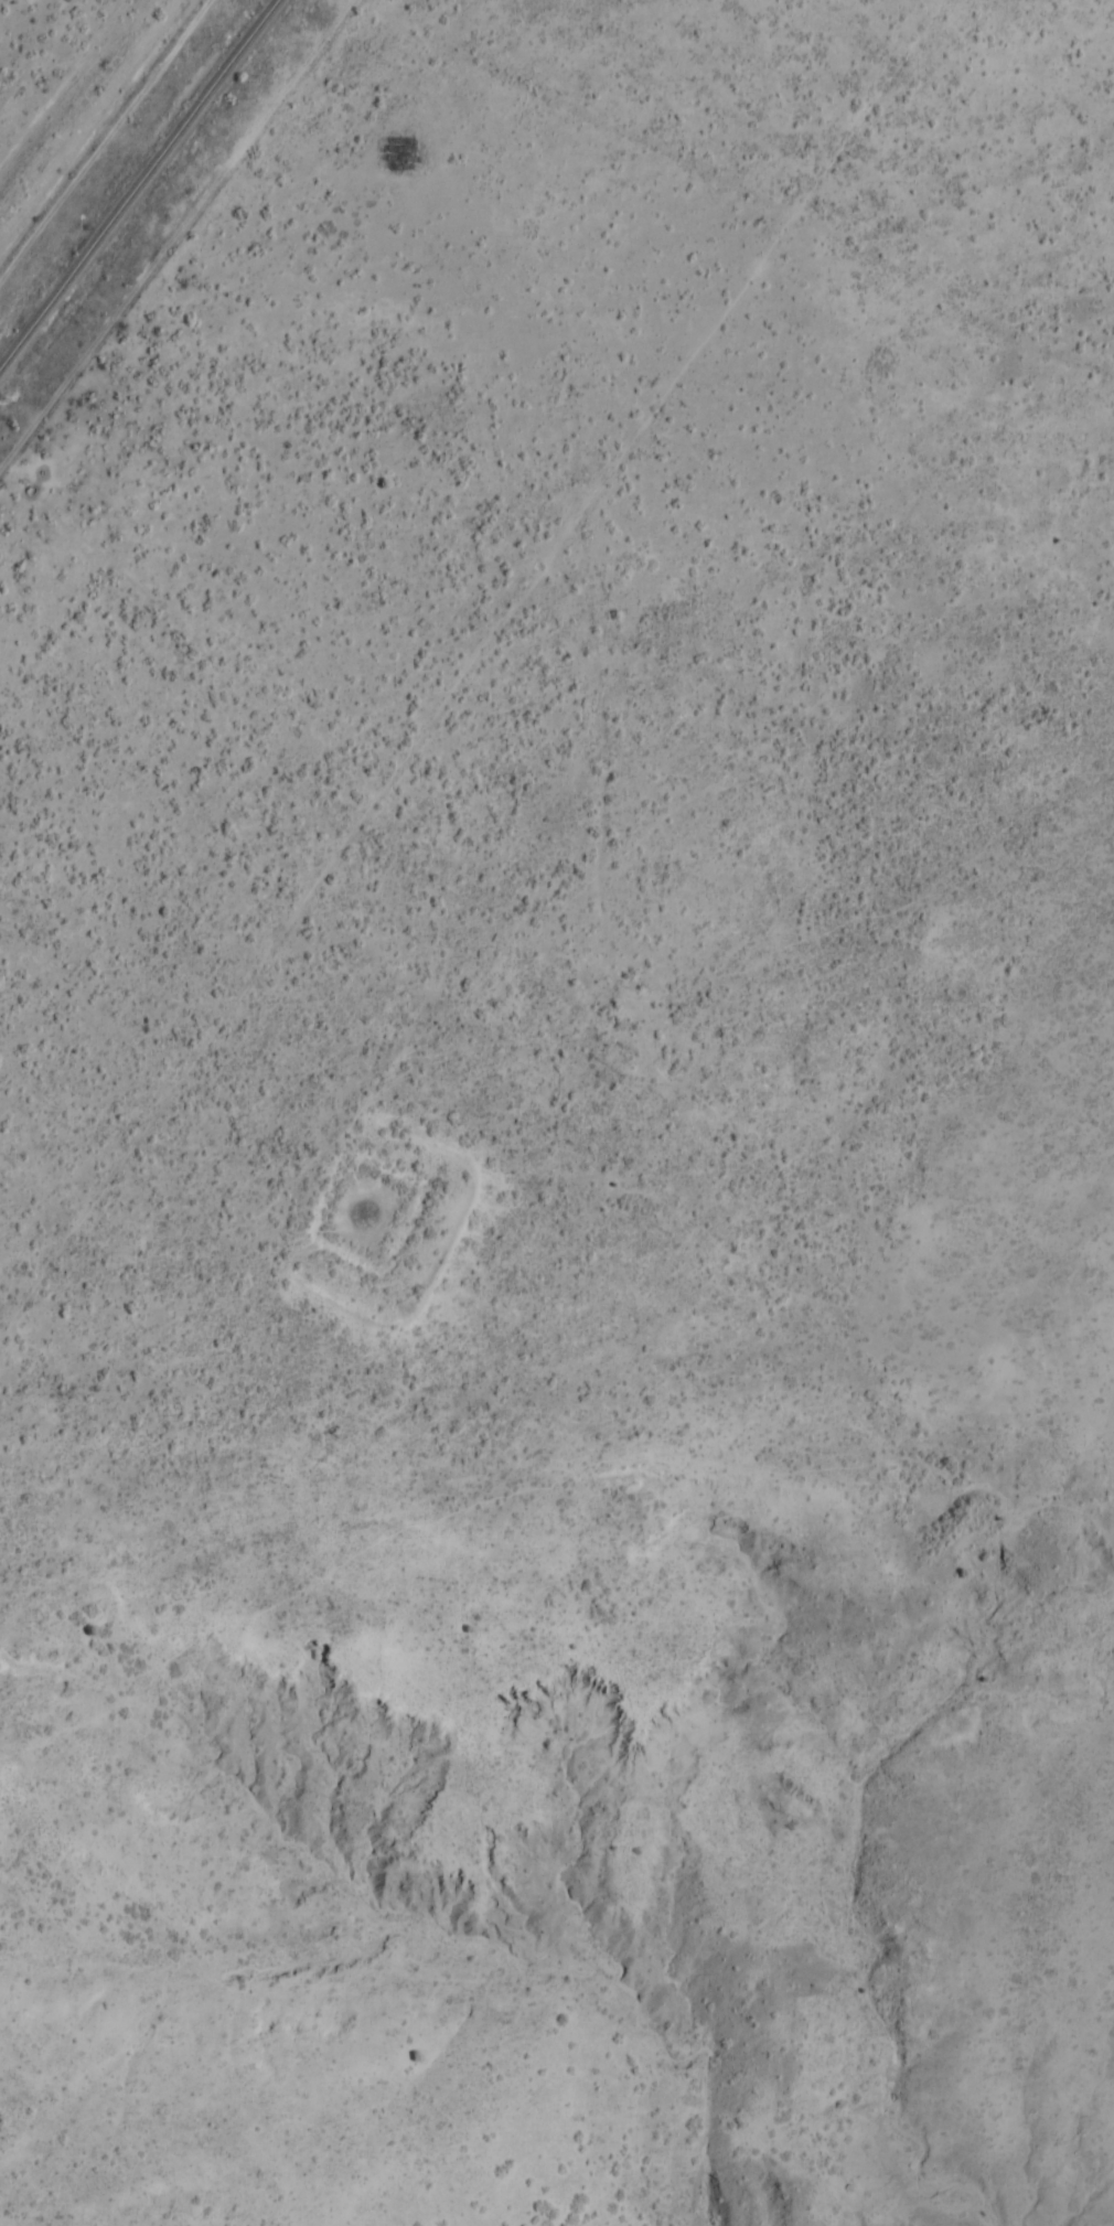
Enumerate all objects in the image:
road: (84, 117)
railway: (138, 183)

